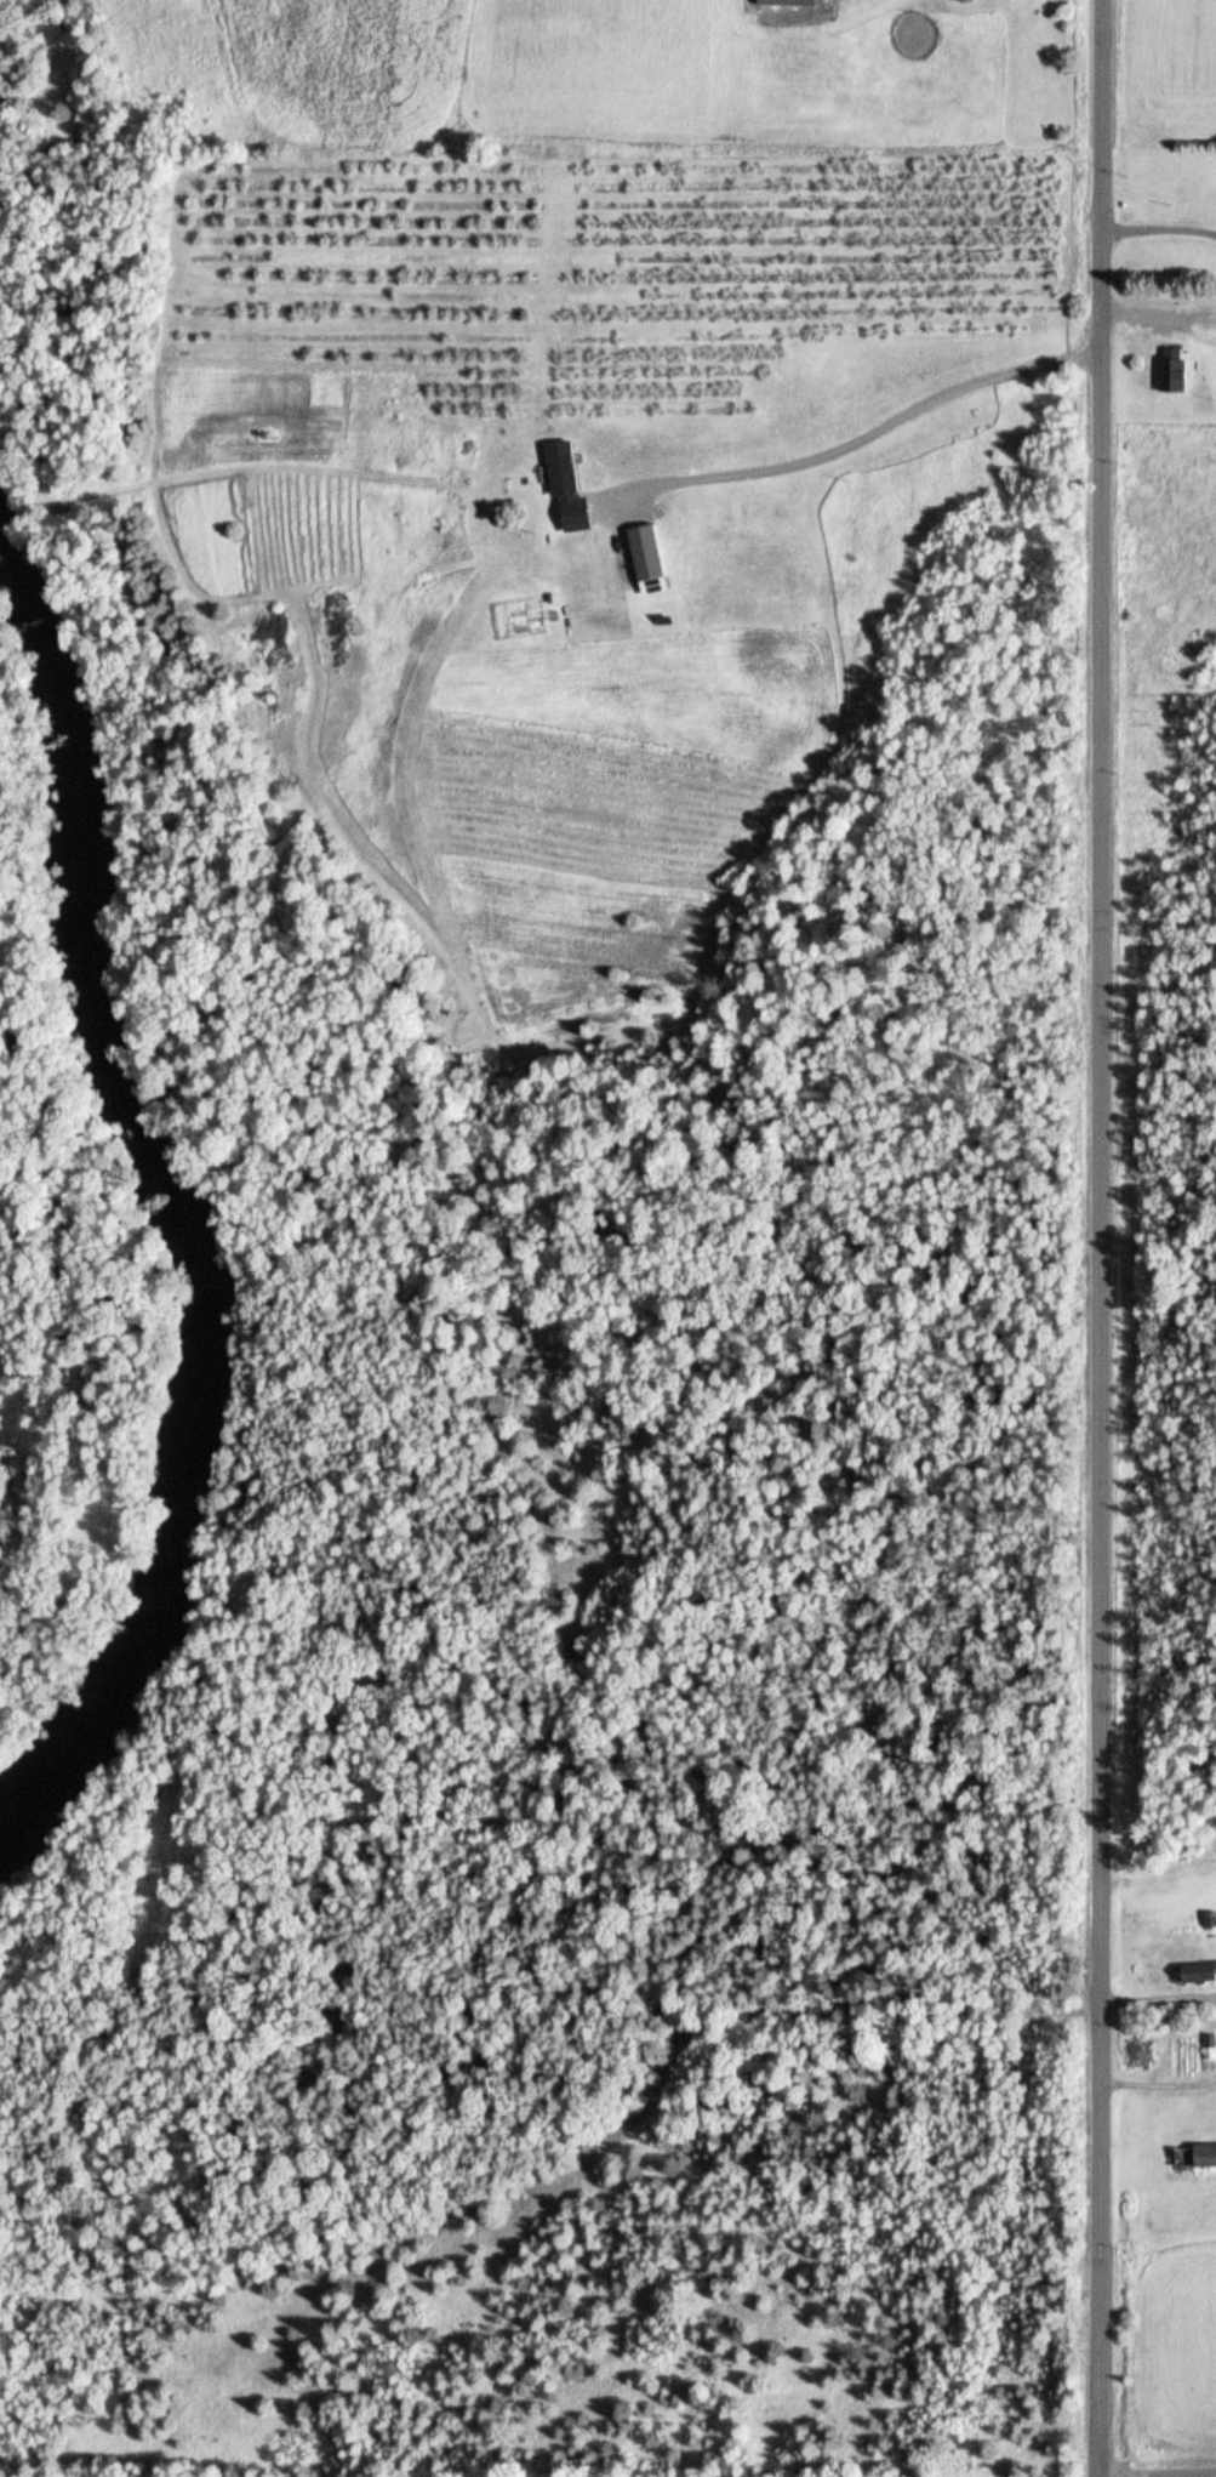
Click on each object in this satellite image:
building: (787, 2)
road: (1163, 229)
road: (1163, 313)
building: (1181, 368)
road: (866, 438)
building: (570, 461)
building: (584, 507)
building: (653, 545)
building: (670, 615)
river: (166, 1214)
road: (1111, 1238)
building: (1204, 1968)
road: (1163, 1998)
building: (1147, 2046)
road: (1163, 2083)
building: (1201, 2152)
road: (1161, 2476)

